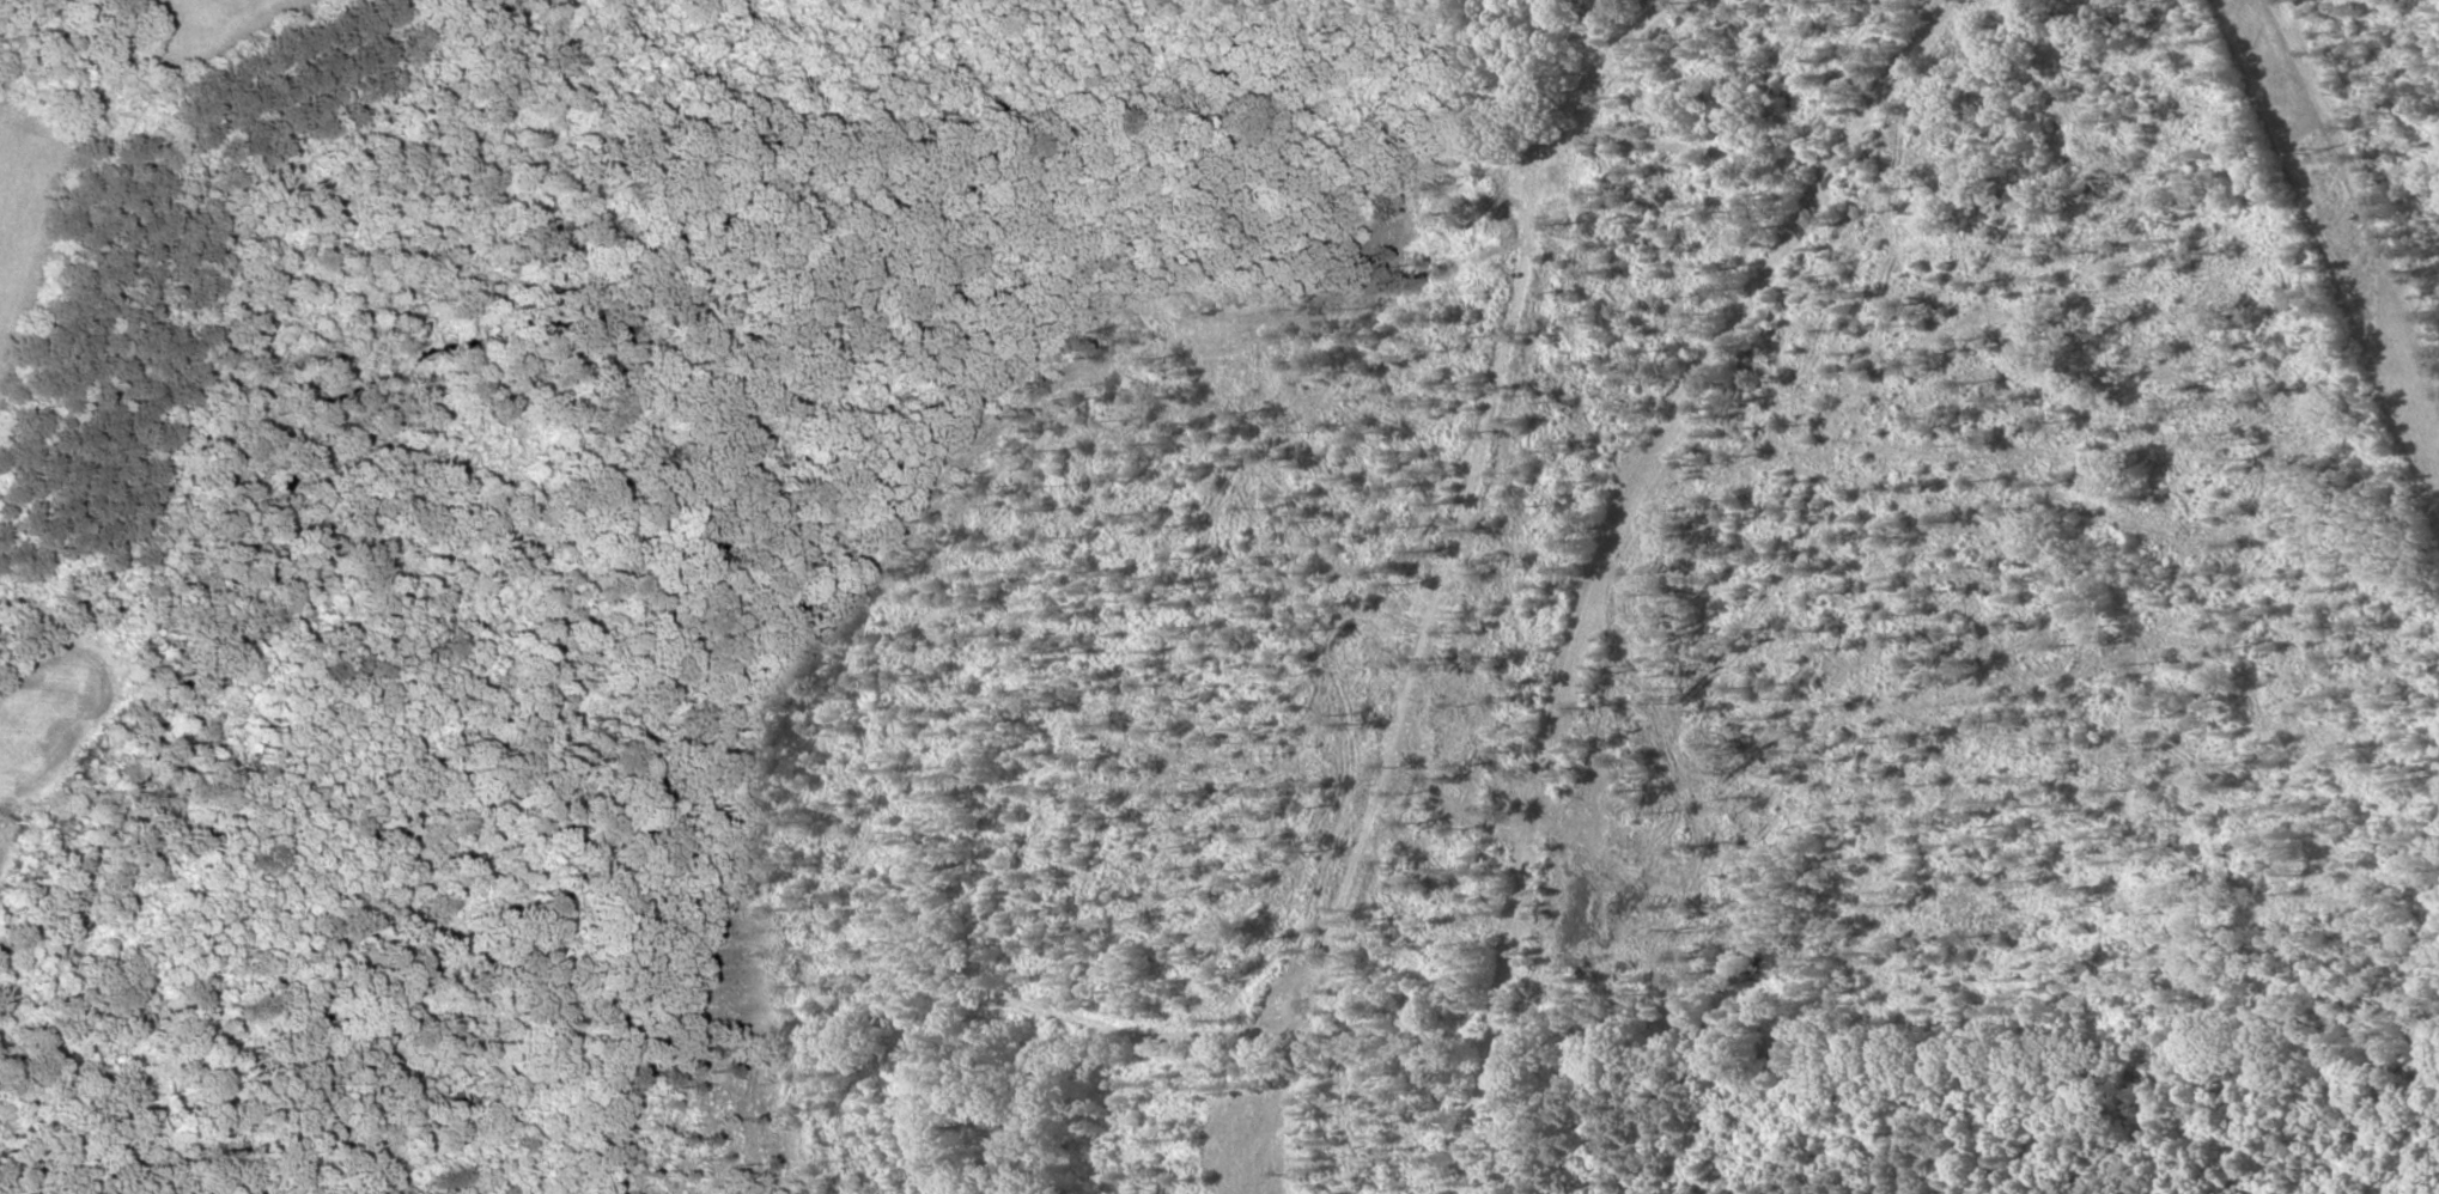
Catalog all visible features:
power tower: (2310, 151)

